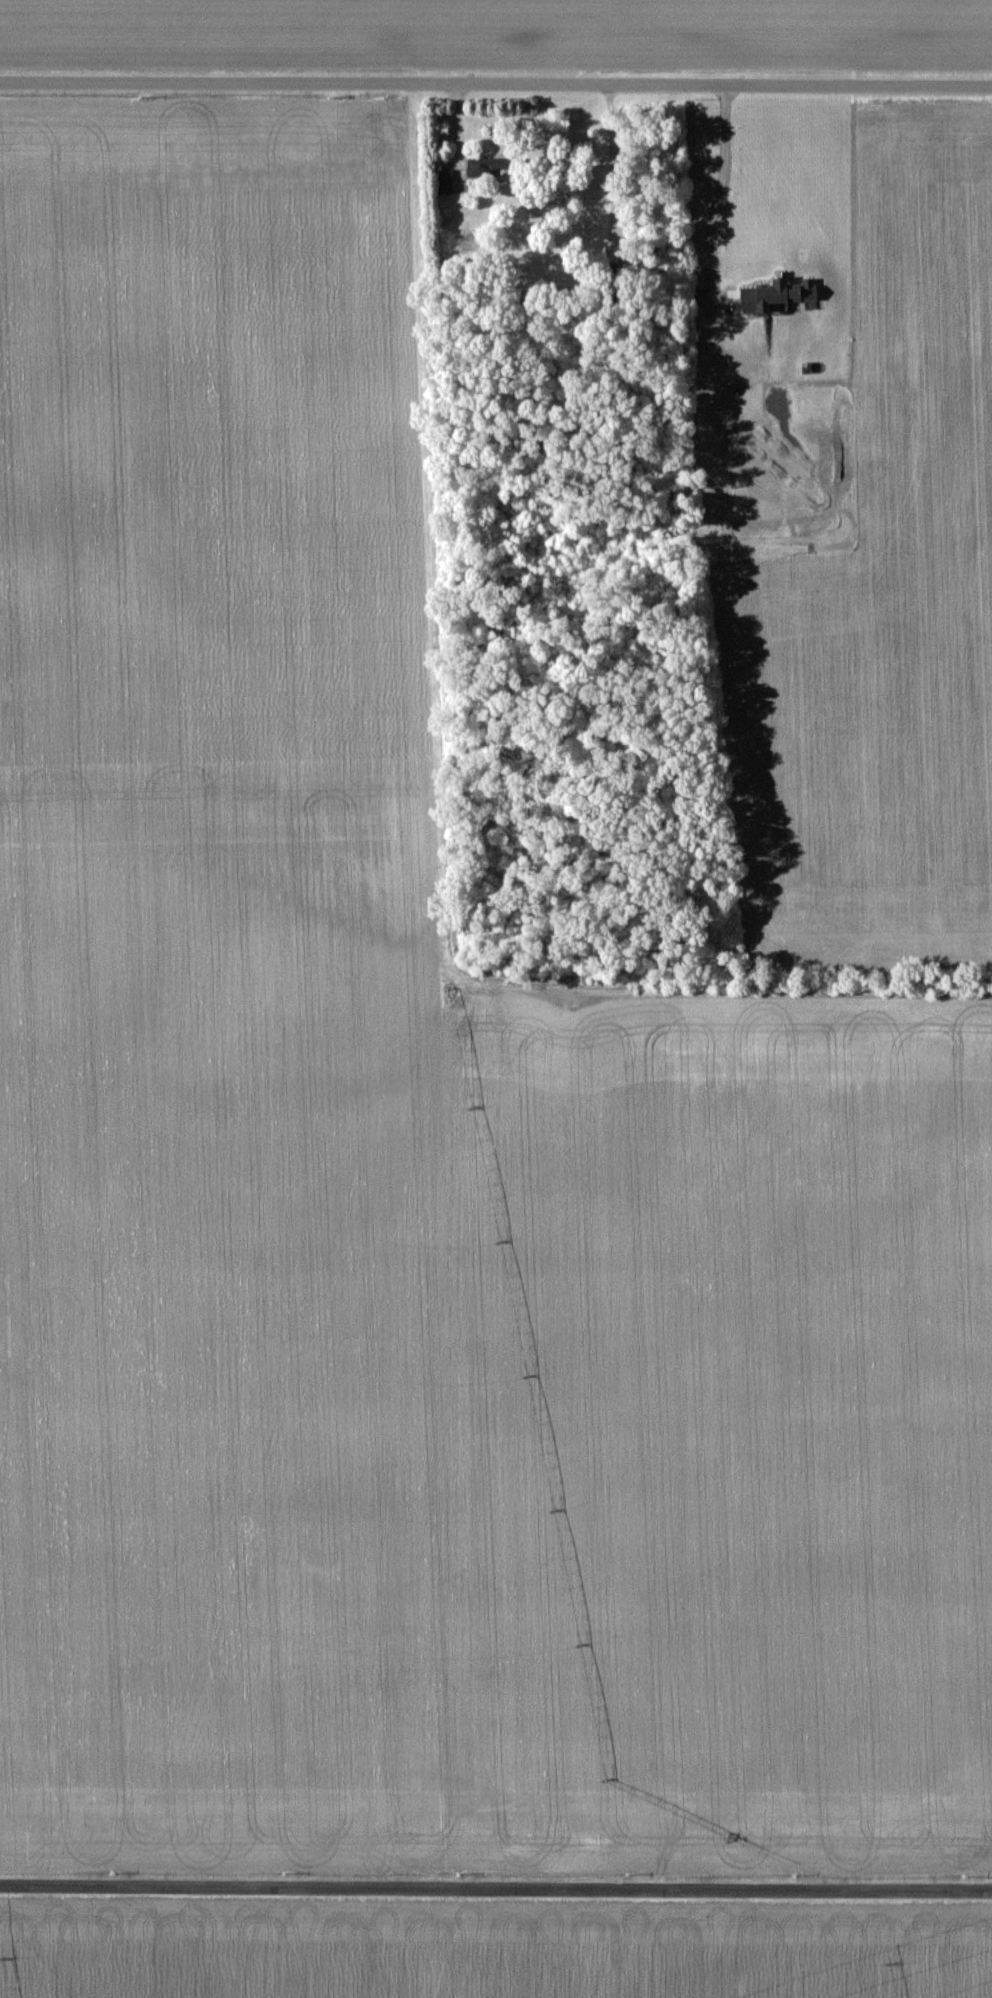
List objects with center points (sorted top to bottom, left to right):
road: (496, 72)
road: (454, 123)
road: (610, 153)
building: (484, 166)
road: (722, 178)
building: (446, 181)
road: (496, 1882)

